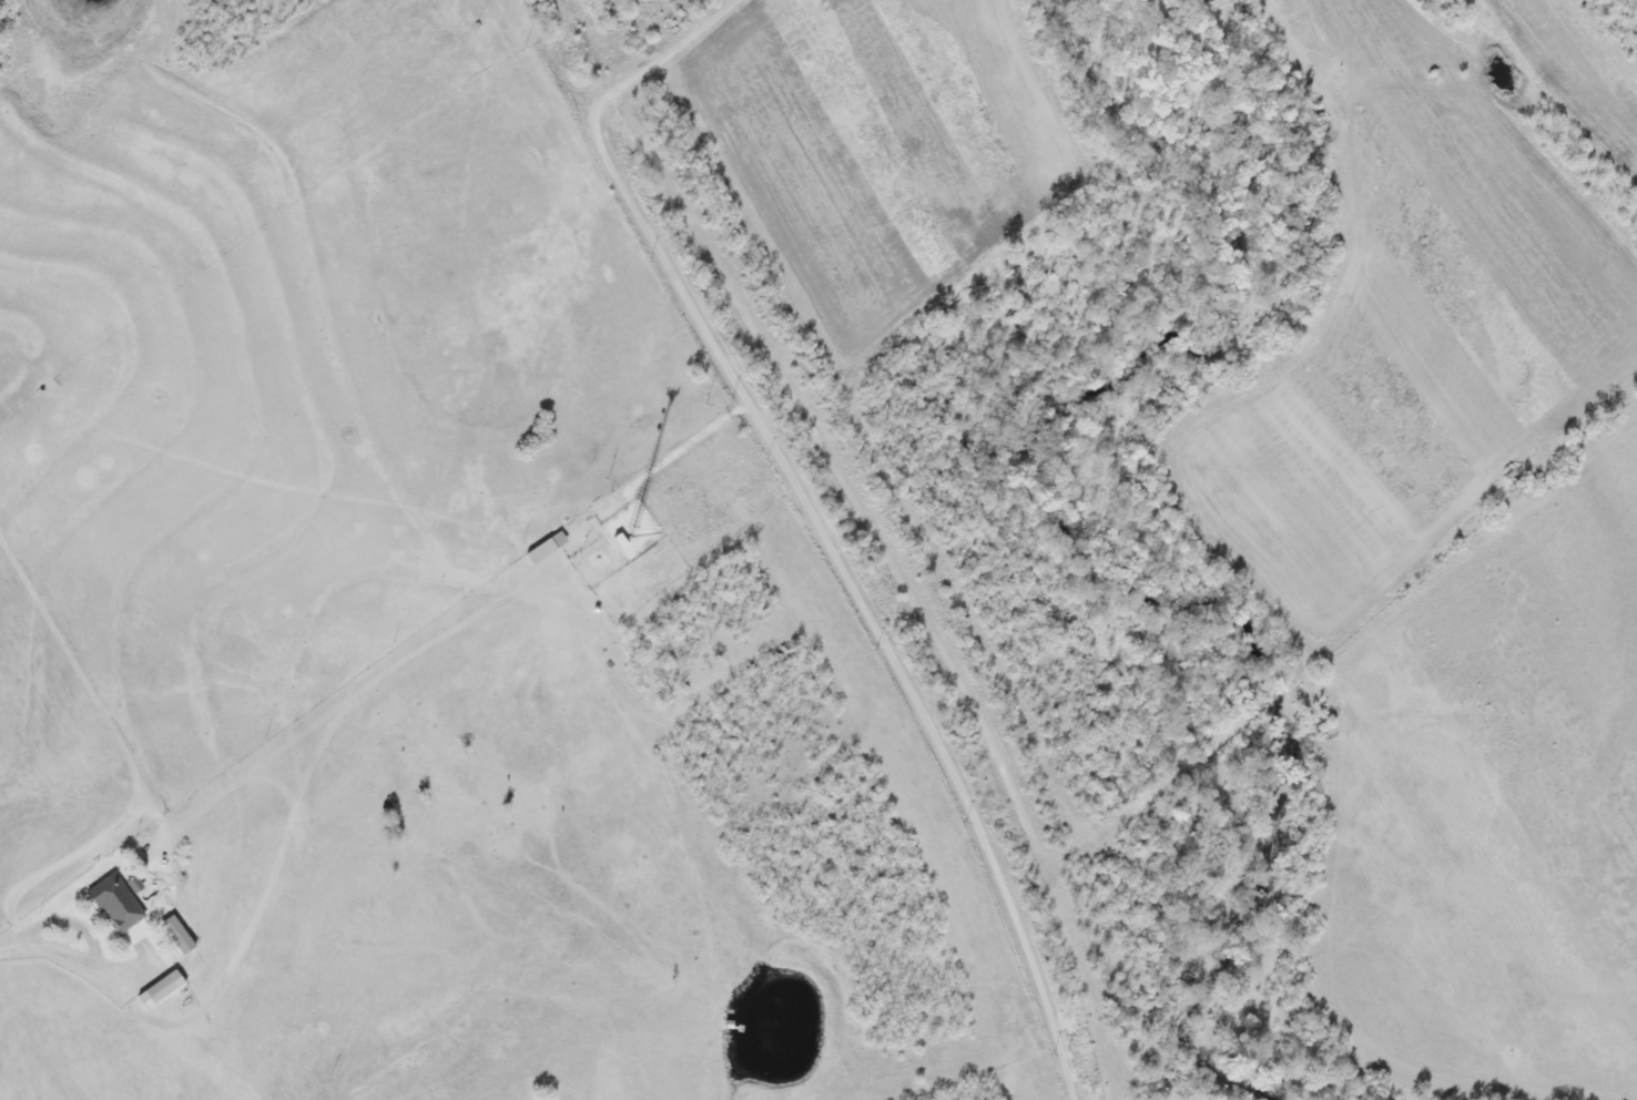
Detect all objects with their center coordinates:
road: (664, 61)
road: (865, 598)
building: (115, 904)
building: (176, 935)
road: (62, 959)
building: (159, 990)

